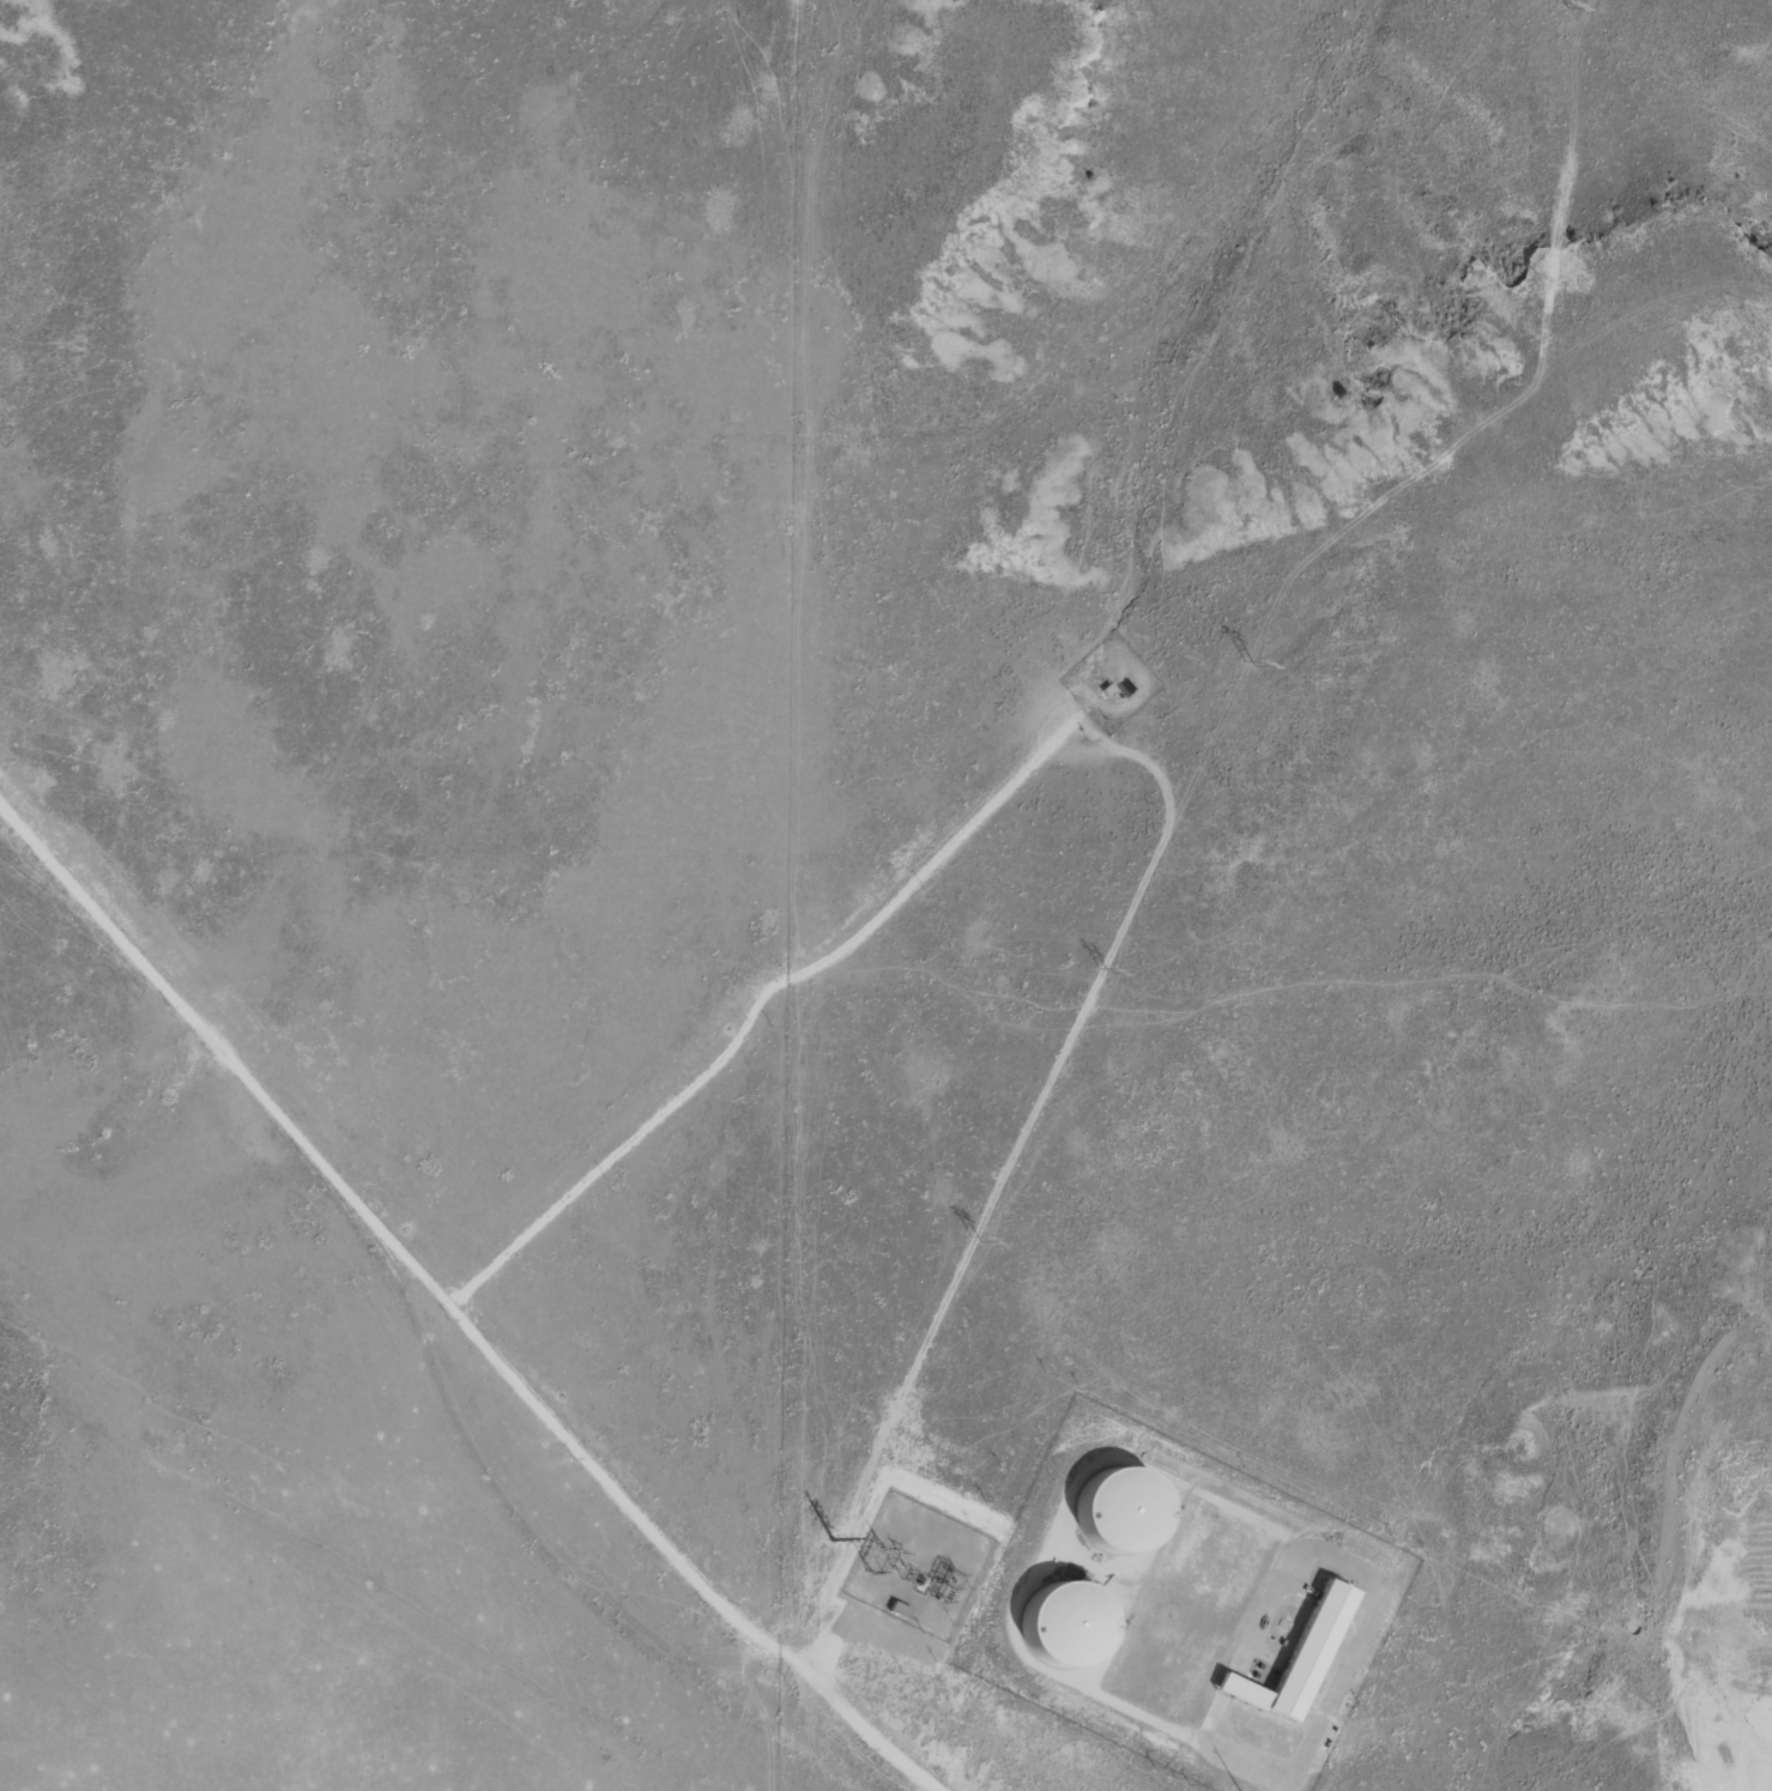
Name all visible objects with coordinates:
power tower: (1544, 8)
power tower: (1233, 649)
power tower: (1103, 952)
power tower: (969, 1236)
road: (395, 1344)
power tower: (830, 1539)
power substation: (918, 1567)
building: (1292, 1657)

